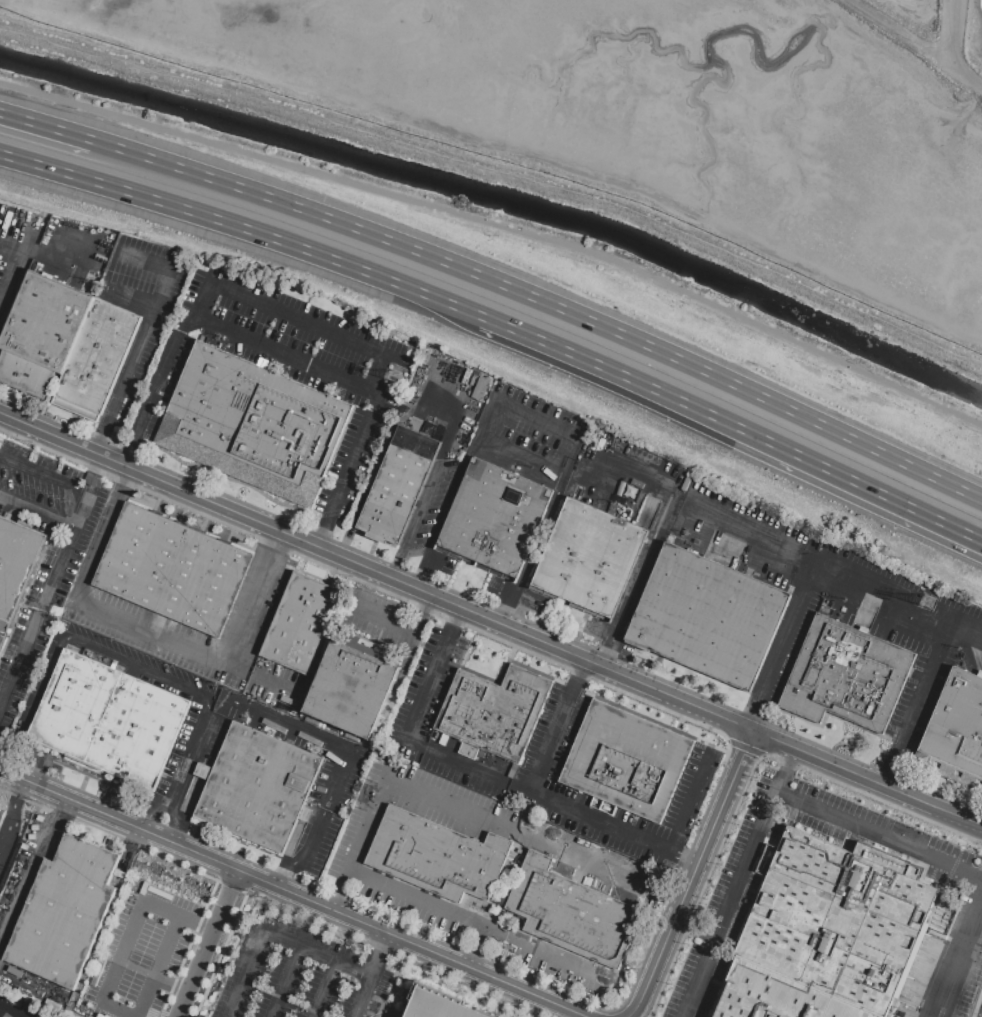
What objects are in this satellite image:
road: (939, 24)
road: (915, 43)
road: (47, 126)
road: (30, 163)
road: (500, 166)
road: (501, 227)
road: (275, 239)
road: (15, 241)
parking lot: (48, 253)
road: (27, 255)
road: (133, 300)
road: (545, 302)
parking lot: (143, 313)
road: (297, 320)
road: (150, 322)
building: (41, 334)
building: (96, 359)
road: (302, 363)
parking lot: (290, 369)
power tower: (398, 377)
building: (477, 386)
road: (82, 420)
road: (436, 421)
road: (534, 423)
building: (253, 424)
road: (735, 427)
road: (101, 428)
parking lot: (445, 434)
road: (103, 438)
road: (116, 438)
building: (1, 441)
road: (135, 442)
road: (132, 448)
road: (519, 458)
street lamp: (189, 471)
road: (100, 474)
road: (232, 479)
road: (128, 480)
road: (434, 483)
building: (397, 486)
road: (452, 495)
road: (39, 510)
road: (337, 511)
building: (494, 521)
road: (540, 538)
road: (781, 540)
road: (284, 541)
parking lot: (726, 550)
road: (648, 555)
parking lot: (44, 557)
road: (65, 558)
building: (588, 560)
parking lot: (434, 562)
road: (423, 564)
building: (15, 565)
building: (172, 569)
road: (377, 572)
street lamp: (348, 575)
road: (374, 587)
power tower: (935, 603)
road: (507, 607)
building: (707, 616)
parking lot: (382, 622)
building: (300, 623)
road: (402, 628)
road: (616, 628)
parking lot: (142, 629)
road: (160, 632)
building: (1, 639)
road: (781, 641)
road: (606, 652)
road: (157, 675)
building: (845, 675)
building: (352, 686)
road: (614, 697)
road: (916, 705)
building: (493, 713)
parking lot: (206, 717)
parking lot: (434, 717)
road: (649, 719)
building: (107, 720)
road: (411, 723)
road: (678, 723)
building: (955, 731)
road: (20, 742)
parking lot: (306, 748)
road: (743, 749)
road: (45, 753)
road: (346, 755)
building: (626, 761)
parking lot: (544, 768)
road: (788, 770)
road: (748, 775)
road: (37, 776)
road: (869, 779)
street lamp: (815, 781)
road: (116, 783)
building: (258, 787)
road: (17, 791)
street lamp: (854, 799)
road: (548, 800)
road: (771, 800)
road: (106, 804)
road: (691, 804)
street lamp: (893, 809)
building: (0, 810)
road: (365, 816)
road: (152, 819)
road: (6, 824)
road: (178, 824)
parking lot: (8, 832)
street lamp: (935, 832)
building: (396, 841)
parking lot: (318, 842)
building: (435, 857)
parking lot: (23, 867)
building: (478, 867)
road: (34, 875)
road: (694, 876)
parking lot: (618, 877)
road: (338, 889)
road: (294, 894)
building: (549, 901)
road: (269, 903)
building: (63, 912)
parking lot: (730, 912)
road: (696, 927)
building: (607, 930)
road: (129, 931)
building: (827, 933)
road: (275, 937)
road: (210, 944)
road: (477, 947)
road: (955, 947)
road: (173, 949)
road: (187, 949)
parking lot: (140, 953)
road: (219, 955)
parking lot: (300, 976)
road: (373, 976)
road: (288, 982)
road: (387, 987)
road: (325, 989)
road: (977, 1002)
building: (438, 1005)
parking lot: (20, 1006)
road: (7, 1013)
road: (534, 1016)

